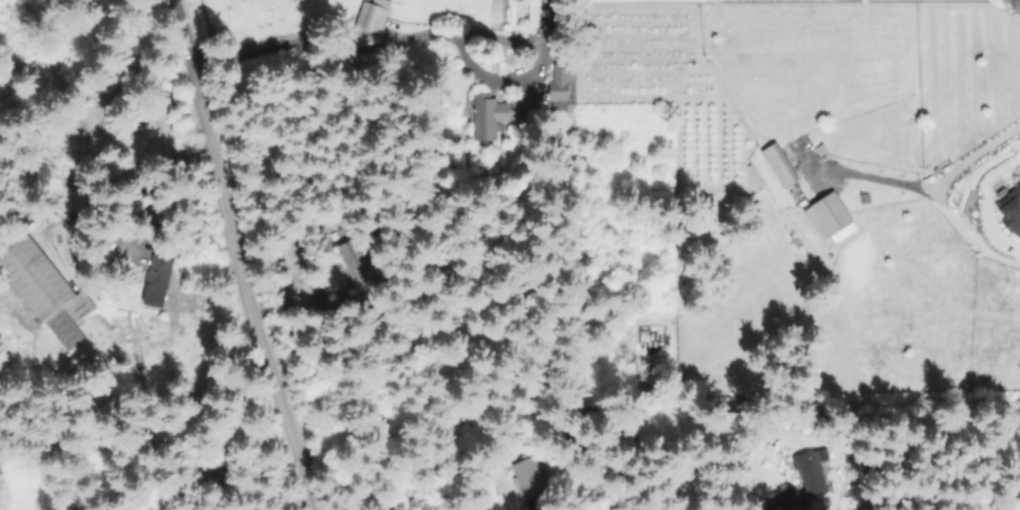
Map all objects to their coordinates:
building: (371, 16)
road: (343, 32)
building: (673, 54)
building: (558, 82)
building: (963, 89)
building: (488, 116)
building: (778, 166)
road: (924, 186)
building: (1011, 212)
building: (828, 219)
road: (235, 257)
building: (159, 268)
building: (44, 291)
building: (814, 465)
building: (532, 484)

